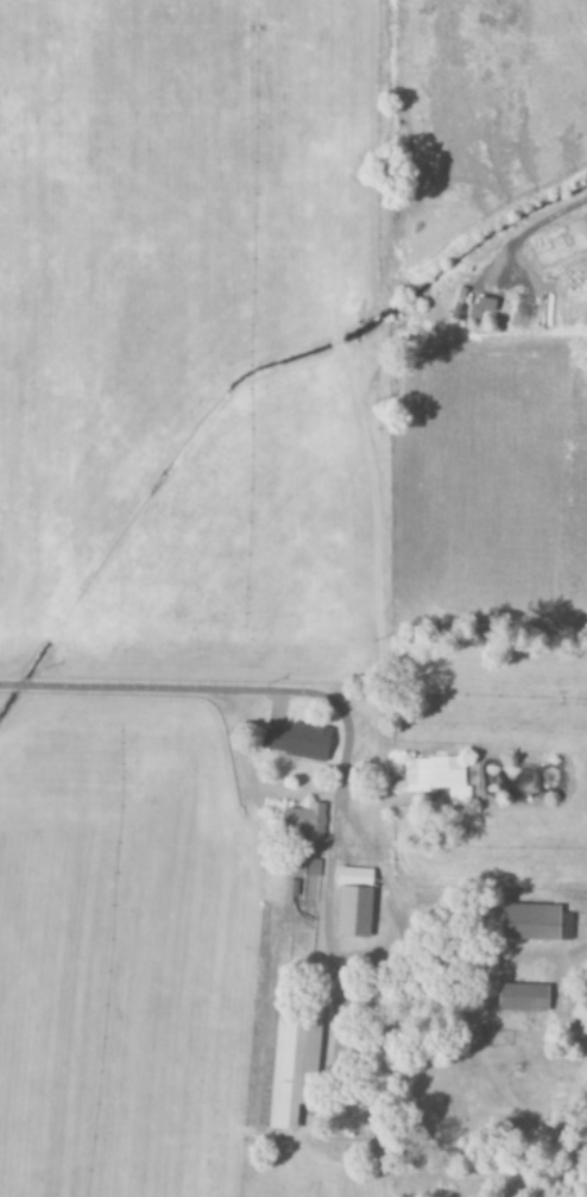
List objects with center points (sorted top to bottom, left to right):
building: (481, 307)
road: (298, 692)
building: (297, 742)
building: (437, 777)
building: (305, 825)
building: (353, 902)
building: (534, 924)
building: (522, 997)
building: (292, 1066)

